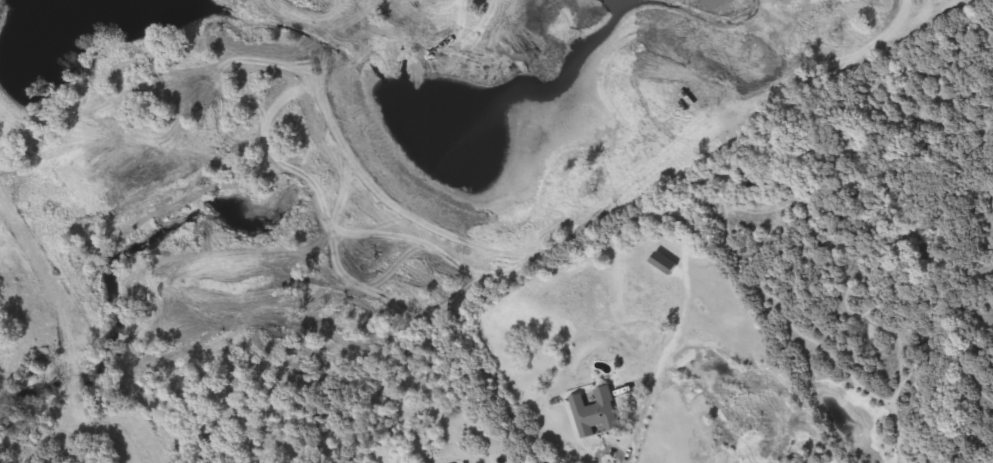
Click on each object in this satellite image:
building: (676, 229)
road: (834, 263)
building: (591, 413)

